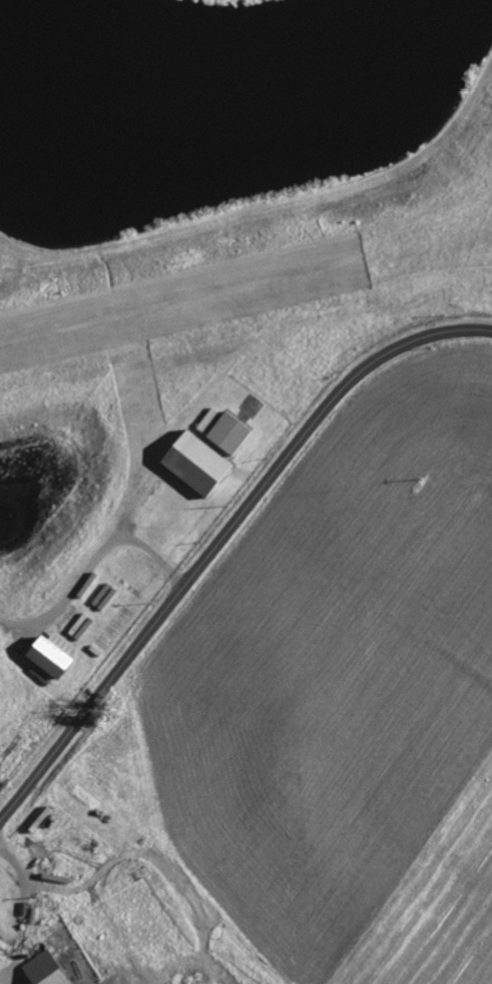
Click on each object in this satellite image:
building: (234, 434)
building: (202, 464)
road: (222, 539)
building: (58, 655)
building: (50, 970)

